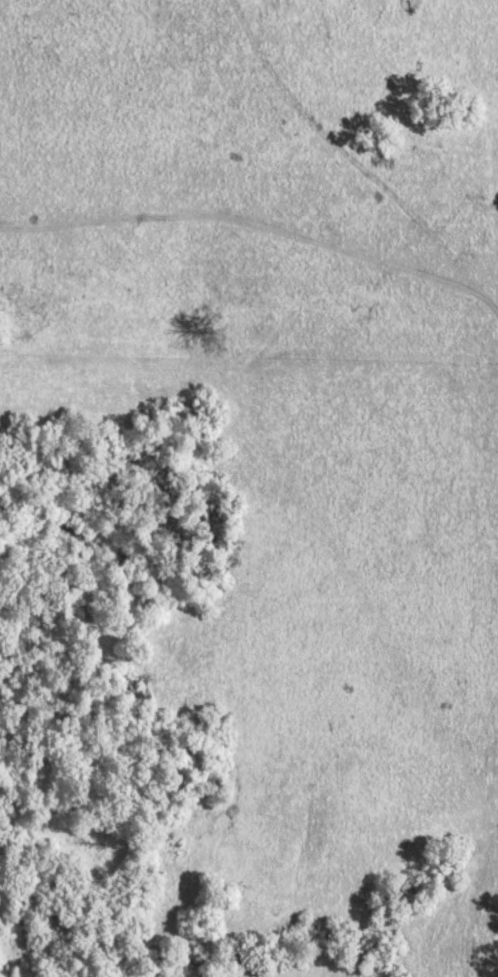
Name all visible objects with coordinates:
road: (257, 223)

